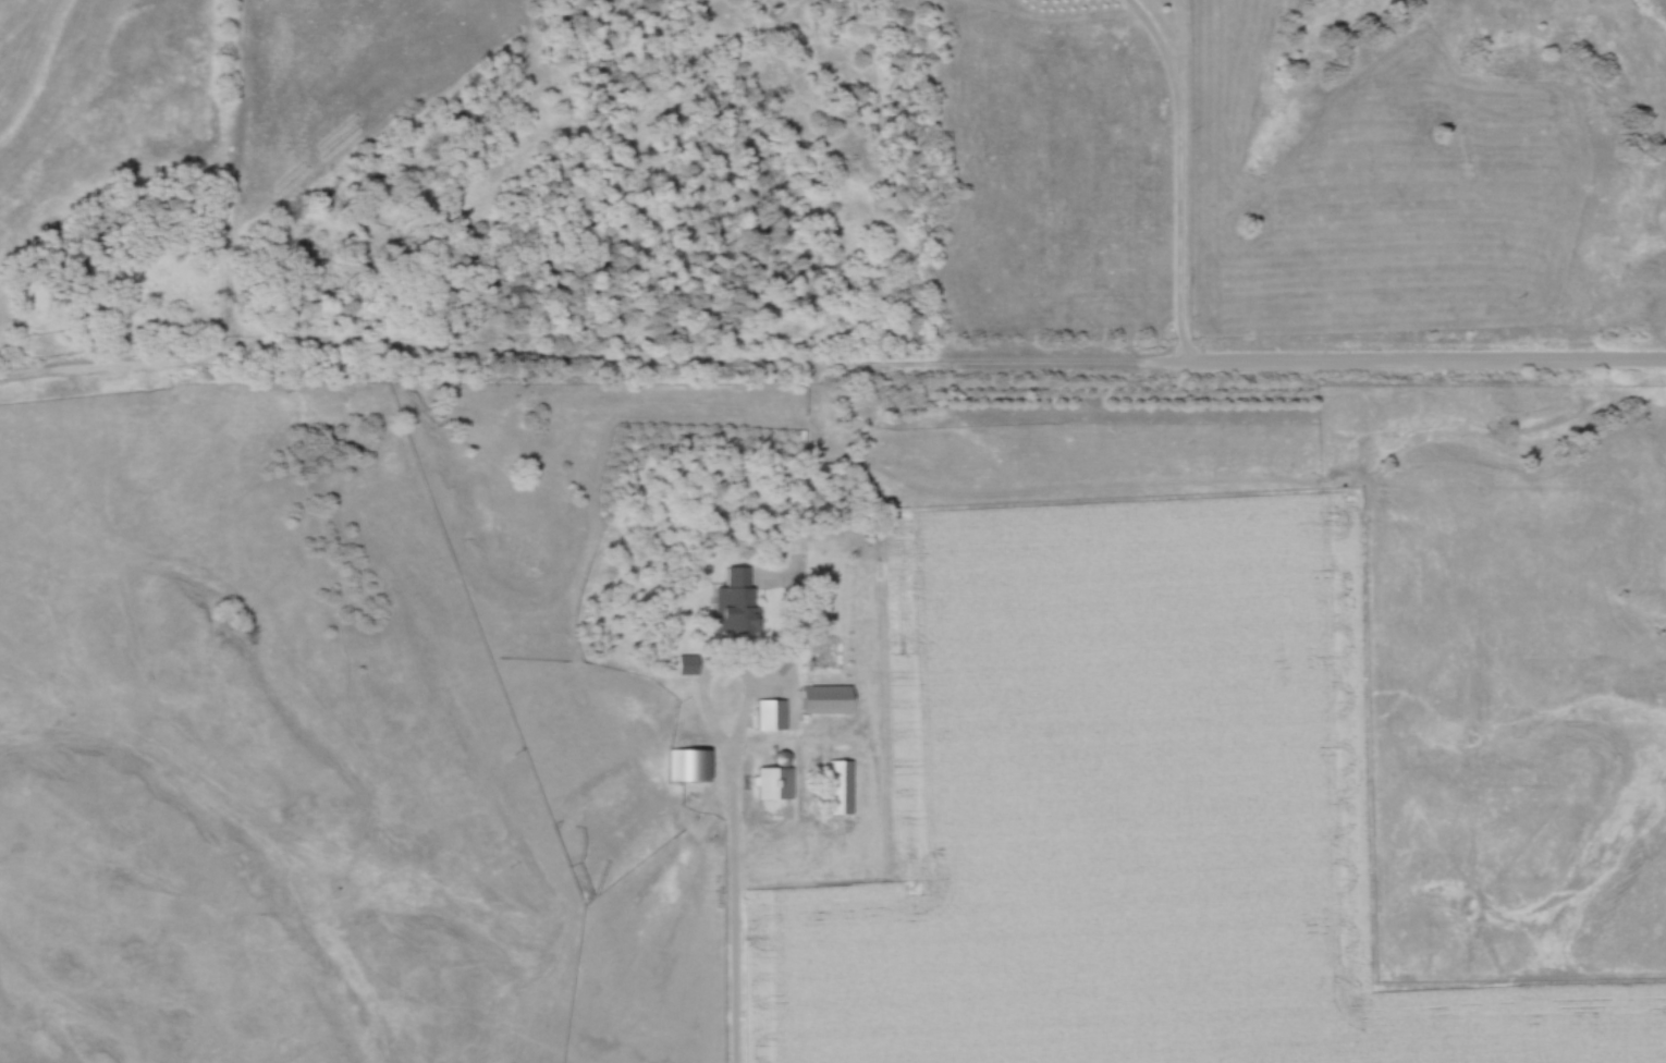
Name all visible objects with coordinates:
road: (831, 364)
road: (801, 574)
building: (738, 601)
building: (690, 667)
building: (830, 700)
building: (773, 717)
building: (691, 768)
building: (775, 785)
building: (842, 790)
road: (734, 834)

